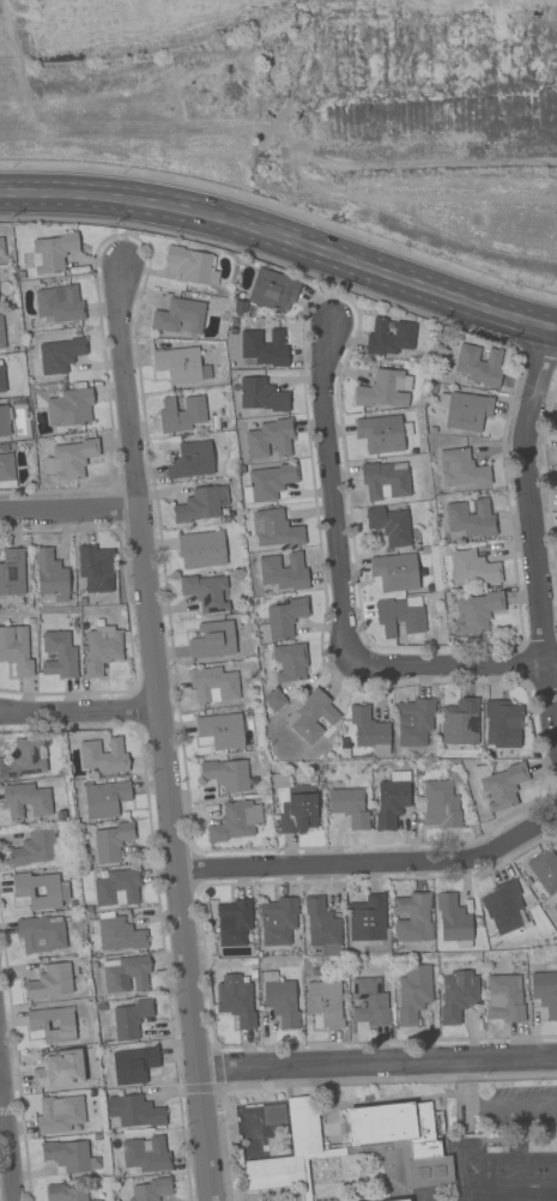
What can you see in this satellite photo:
road: (279, 235)
building: (1, 247)
building: (53, 252)
building: (193, 265)
building: (273, 290)
building: (59, 303)
building: (240, 306)
building: (249, 312)
building: (180, 316)
building: (234, 322)
road: (552, 326)
road: (552, 330)
building: (1, 333)
building: (389, 337)
building: (265, 346)
building: (57, 358)
building: (181, 364)
building: (478, 366)
building: (1, 379)
building: (385, 390)
building: (261, 396)
building: (71, 408)
building: (465, 410)
building: (181, 415)
building: (5, 421)
building: (382, 434)
building: (270, 439)
building: (69, 459)
building: (190, 460)
building: (461, 469)
building: (6, 471)
building: (385, 481)
building: (268, 482)
building: (201, 503)
road: (331, 505)
road: (71, 511)
building: (471, 519)
road: (531, 521)
building: (389, 525)
building: (276, 529)
building: (201, 549)
building: (470, 567)
building: (96, 568)
building: (12, 571)
building: (284, 572)
building: (395, 572)
building: (50, 574)
building: (206, 592)
building: (476, 612)
building: (399, 617)
building: (283, 618)
building: (213, 641)
building: (102, 648)
building: (16, 650)
building: (59, 654)
building: (290, 662)
road: (464, 666)
building: (213, 686)
building: (274, 700)
road: (78, 714)
building: (314, 716)
building: (414, 720)
building: (460, 723)
building: (502, 724)
road: (157, 730)
building: (222, 730)
building: (369, 730)
building: (103, 755)
building: (25, 759)
building: (228, 774)
building: (280, 780)
building: (501, 784)
building: (105, 798)
building: (26, 799)
building: (392, 799)
building: (441, 805)
building: (350, 807)
building: (297, 808)
building: (236, 821)
building: (113, 841)
building: (35, 849)
road: (370, 862)
building: (545, 869)
building: (119, 887)
building: (56, 891)
building: (503, 906)
building: (552, 915)
building: (413, 917)
building: (278, 921)
building: (454, 921)
building: (234, 922)
building: (370, 924)
building: (322, 925)
building: (117, 933)
building: (42, 934)
building: (127, 974)
building: (50, 982)
building: (545, 991)
building: (413, 994)
building: (458, 995)
building: (504, 997)
building: (280, 1000)
building: (236, 1001)
building: (326, 1002)
building: (369, 1002)
building: (132, 1019)
building: (37, 1025)
building: (134, 1064)
road: (379, 1064)
building: (60, 1068)
road: (466, 1087)
road: (517, 1106)
building: (134, 1112)
building: (60, 1114)
road: (8, 1116)
building: (357, 1143)
building: (146, 1154)
building: (69, 1155)
building: (153, 1189)
building: (66, 1193)
building: (98, 1200)
building: (401, 1200)

